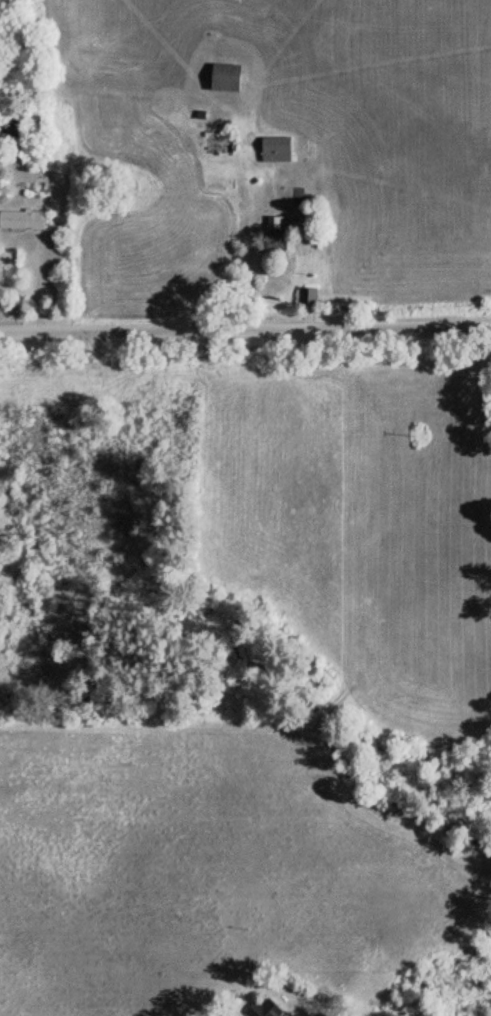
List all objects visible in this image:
building: (221, 78)
crop: (343, 107)
building: (273, 149)
building: (20, 220)
building: (275, 232)
road: (245, 313)
building: (261, 1008)

